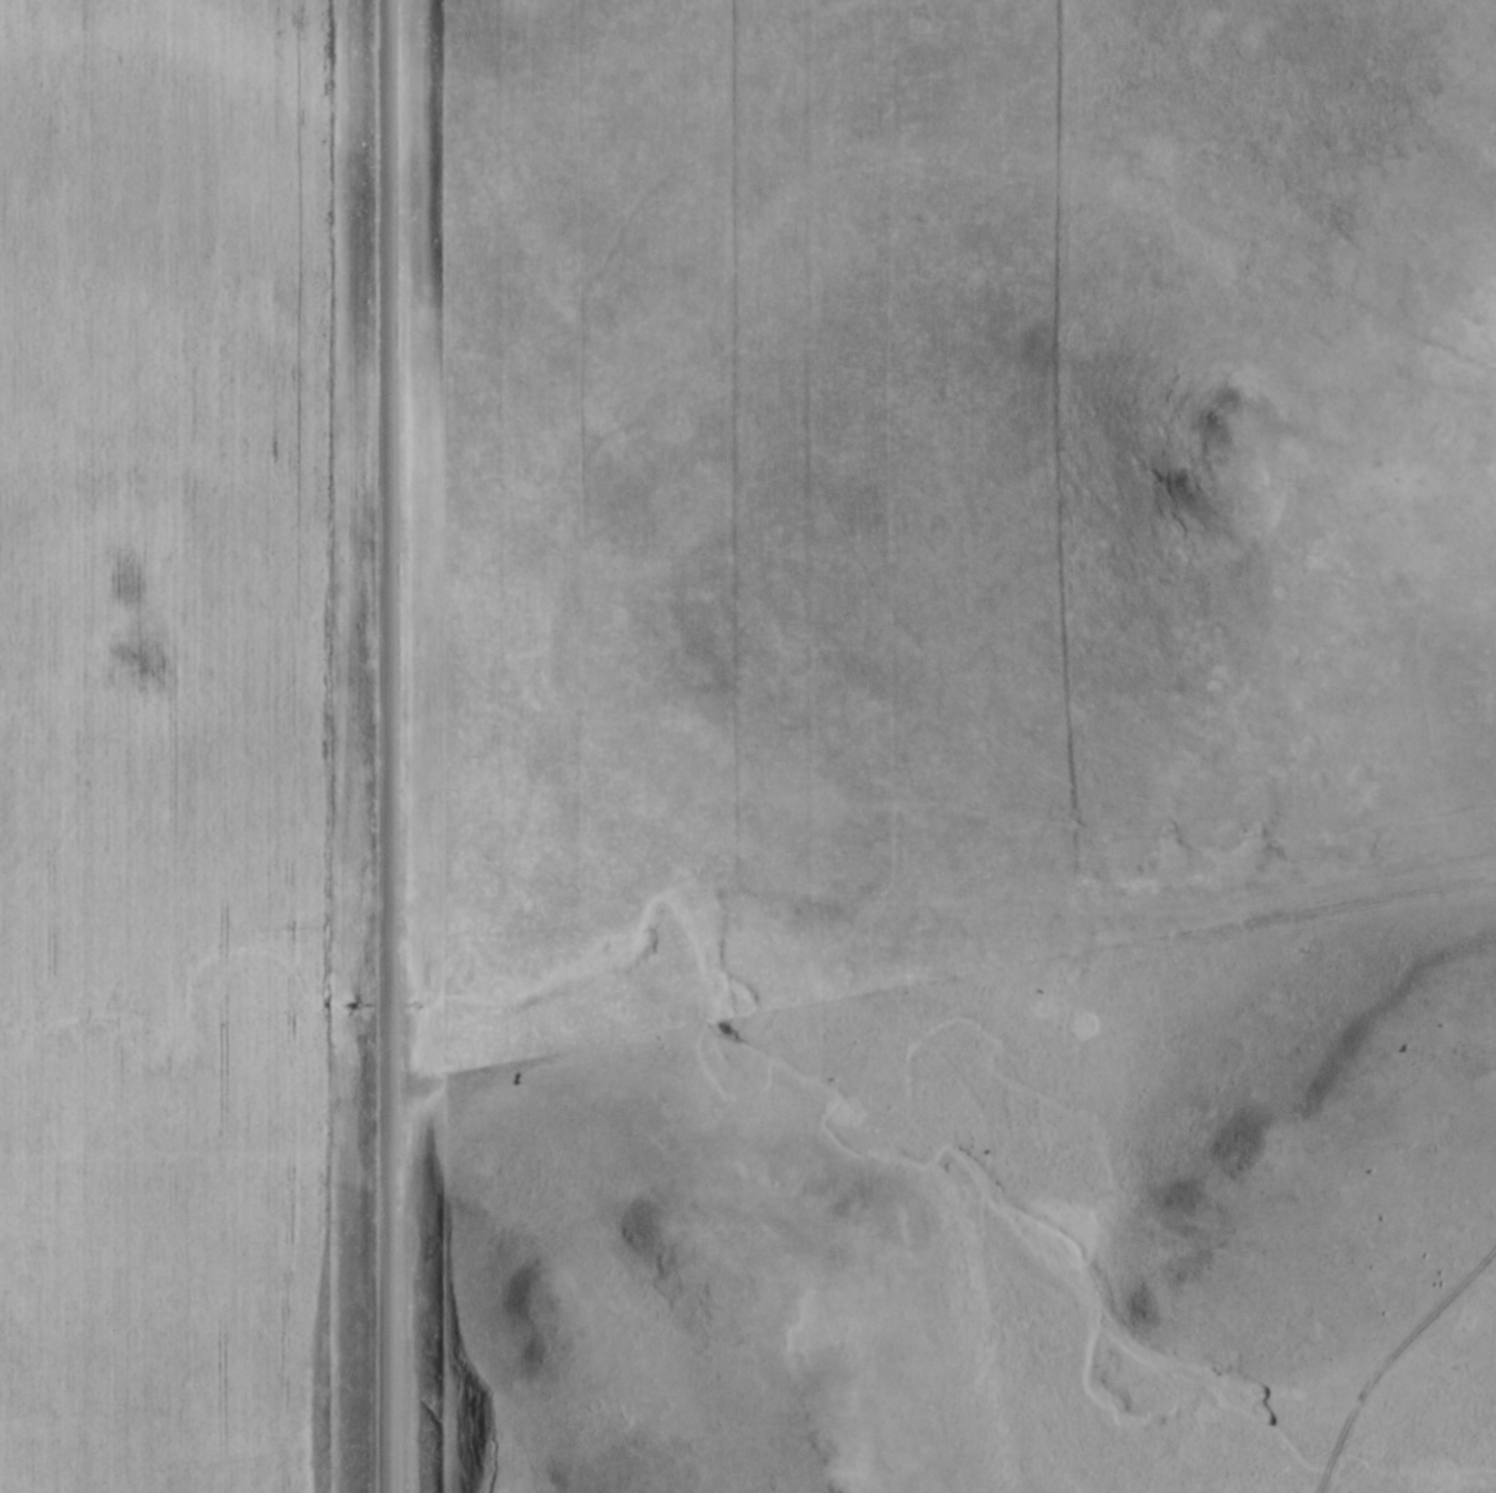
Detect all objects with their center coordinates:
road: (391, 746)

